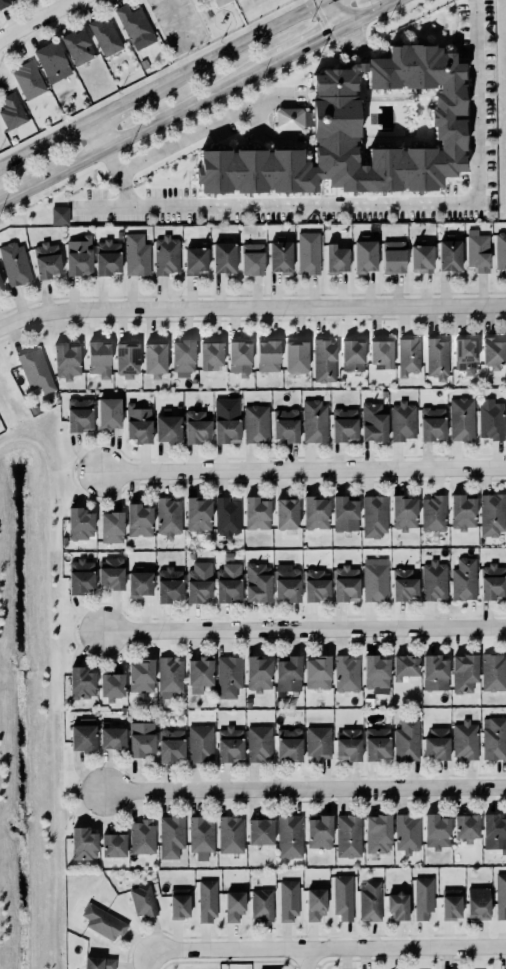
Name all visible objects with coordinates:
building: (218, 2)
building: (4, 3)
road: (339, 13)
road: (372, 13)
road: (39, 19)
road: (198, 19)
park: (206, 22)
parking lot: (177, 23)
road: (178, 23)
building: (135, 26)
traffic signals: (346, 26)
building: (105, 36)
building: (78, 47)
road: (304, 47)
building: (51, 59)
building: (144, 63)
building: (29, 79)
road: (164, 83)
park: (500, 107)
building: (12, 111)
building: (288, 118)
road: (207, 127)
building: (360, 130)
road: (97, 135)
road: (131, 136)
road: (118, 177)
road: (371, 205)
building: (59, 215)
building: (307, 251)
building: (478, 251)
building: (500, 251)
building: (362, 253)
building: (164, 254)
building: (136, 255)
building: (449, 255)
building: (77, 256)
building: (278, 256)
building: (392, 256)
building: (105, 257)
building: (222, 257)
building: (250, 258)
building: (419, 258)
building: (44, 259)
building: (335, 259)
building: (195, 260)
building: (15, 264)
building: (0, 284)
road: (251, 306)
building: (493, 351)
building: (208, 352)
building: (380, 353)
building: (153, 354)
building: (179, 354)
building: (464, 354)
building: (266, 355)
building: (350, 355)
building: (295, 356)
building: (407, 356)
building: (238, 357)
building: (96, 358)
building: (436, 358)
building: (124, 359)
building: (64, 360)
building: (322, 360)
building: (36, 371)
building: (107, 412)
building: (78, 414)
building: (460, 418)
building: (491, 419)
building: (313, 420)
building: (402, 421)
building: (373, 422)
building: (136, 423)
building: (254, 423)
building: (432, 424)
building: (286, 425)
building: (344, 425)
building: (166, 426)
building: (225, 426)
building: (196, 427)
road: (29, 441)
road: (304, 471)
building: (402, 512)
building: (432, 512)
building: (461, 512)
building: (255, 513)
building: (315, 513)
building: (490, 513)
building: (198, 514)
building: (344, 514)
building: (371, 514)
building: (285, 515)
building: (168, 517)
building: (227, 517)
building: (138, 520)
building: (80, 523)
building: (111, 527)
building: (109, 572)
building: (78, 576)
building: (432, 579)
building: (464, 579)
building: (373, 581)
building: (198, 582)
building: (492, 582)
building: (137, 583)
building: (227, 583)
building: (257, 583)
building: (286, 583)
building: (344, 583)
building: (314, 584)
building: (402, 584)
building: (169, 585)
road: (305, 631)
building: (405, 667)
building: (138, 672)
building: (376, 672)
building: (463, 672)
building: (318, 673)
building: (435, 673)
building: (493, 673)
building: (259, 674)
building: (346, 674)
building: (288, 675)
building: (170, 676)
building: (199, 676)
building: (229, 676)
building: (81, 683)
building: (111, 686)
road: (49, 717)
building: (110, 733)
building: (83, 735)
building: (494, 738)
building: (406, 739)
building: (464, 739)
building: (141, 740)
building: (197, 740)
building: (259, 743)
building: (318, 743)
building: (435, 743)
building: (228, 744)
building: (287, 744)
building: (377, 744)
building: (171, 745)
building: (347, 745)
road: (305, 788)
building: (464, 827)
building: (258, 828)
building: (492, 830)
building: (436, 831)
building: (319, 832)
building: (376, 832)
building: (407, 833)
building: (231, 834)
building: (140, 836)
building: (289, 836)
building: (348, 836)
building: (171, 837)
building: (200, 837)
building: (83, 844)
building: (112, 845)
building: (500, 895)
building: (341, 896)
building: (422, 897)
building: (143, 900)
building: (207, 901)
building: (288, 901)
building: (369, 901)
building: (231, 902)
building: (179, 903)
building: (478, 903)
building: (261, 904)
building: (315, 904)
building: (451, 904)
building: (396, 905)
building: (103, 922)
road: (327, 949)
road: (149, 959)
road: (306, 959)
building: (99, 963)
building: (388, 968)

